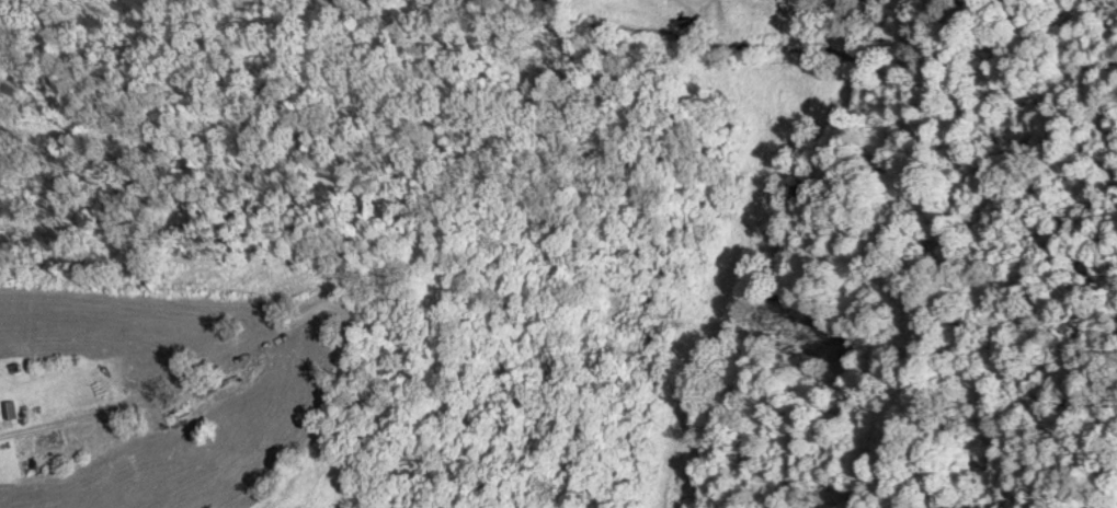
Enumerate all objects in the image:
building: (16, 460)

